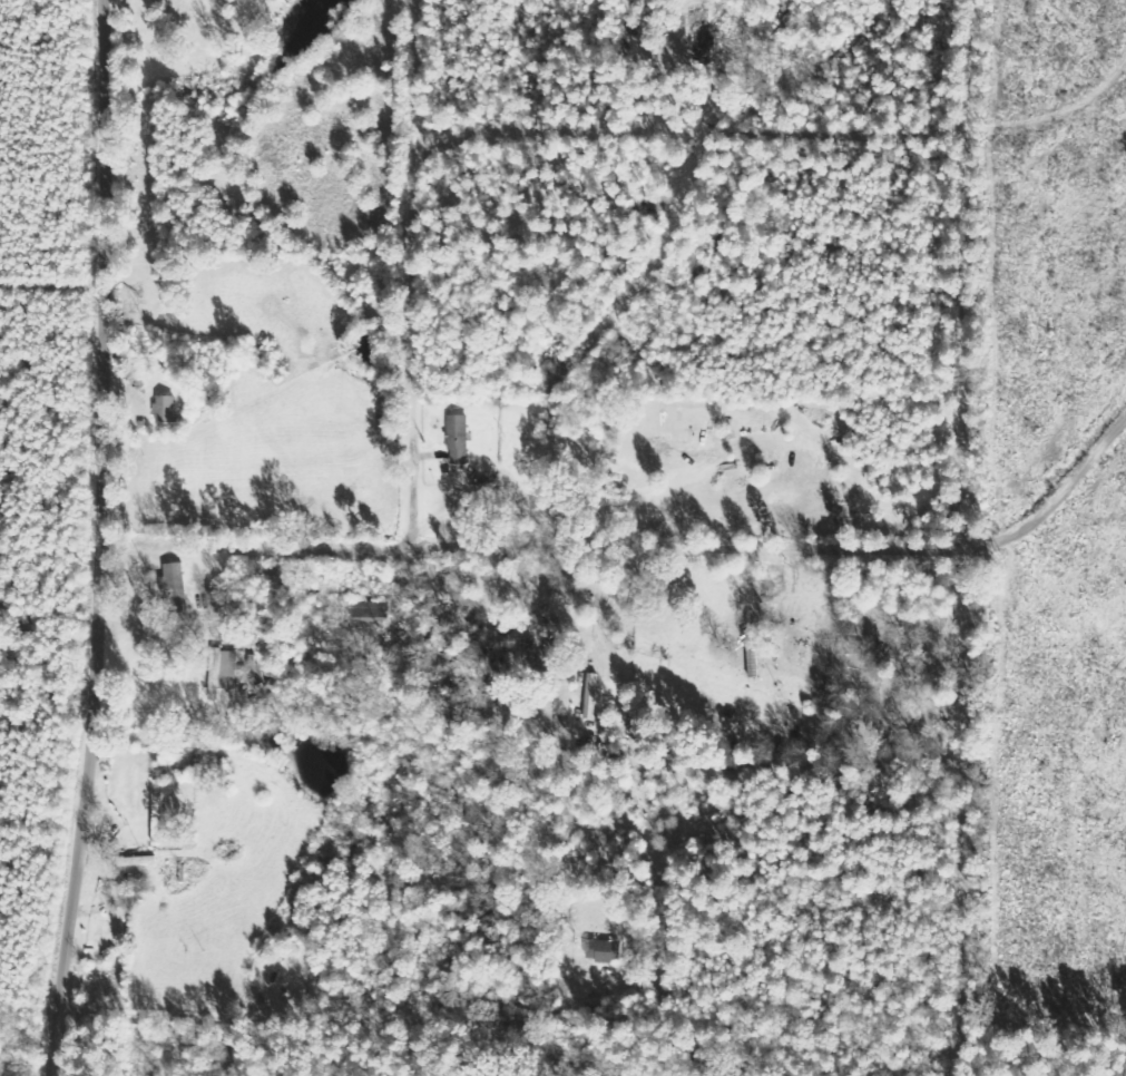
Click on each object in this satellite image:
building: (699, 37)
road: (408, 278)
building: (163, 409)
building: (457, 439)
road: (119, 538)
road: (268, 545)
building: (174, 580)
building: (227, 669)
building: (214, 679)
building: (603, 951)

